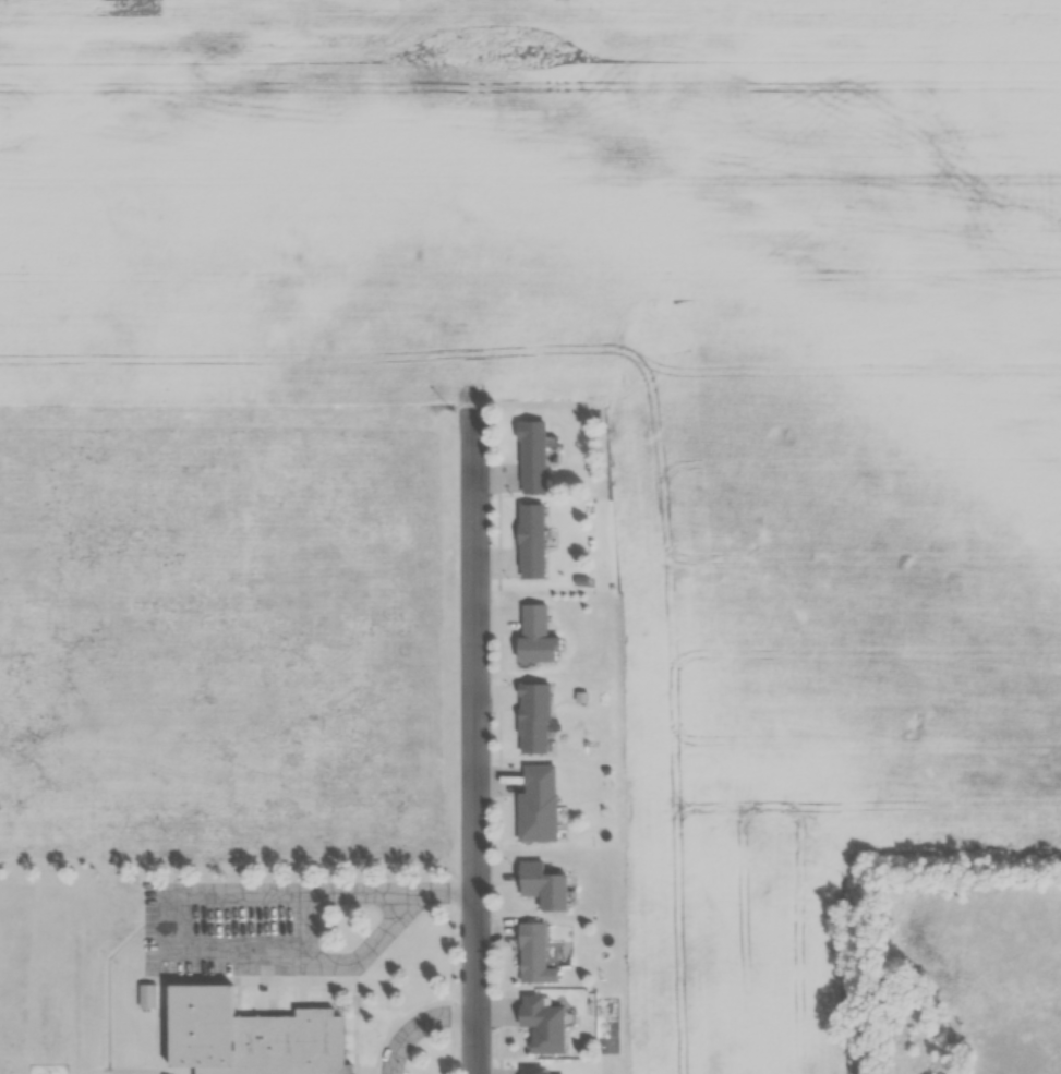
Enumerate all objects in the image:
building: (529, 457)
building: (528, 540)
building: (532, 636)
building: (531, 717)
road: (475, 733)
building: (535, 804)
road: (453, 874)
building: (539, 885)
road: (370, 892)
road: (447, 892)
road: (171, 901)
parking lot: (232, 927)
road: (451, 952)
building: (532, 954)
road: (362, 955)
building: (146, 995)
road: (419, 1023)
building: (540, 1024)
building: (245, 1036)
road: (451, 1050)
building: (528, 1070)

